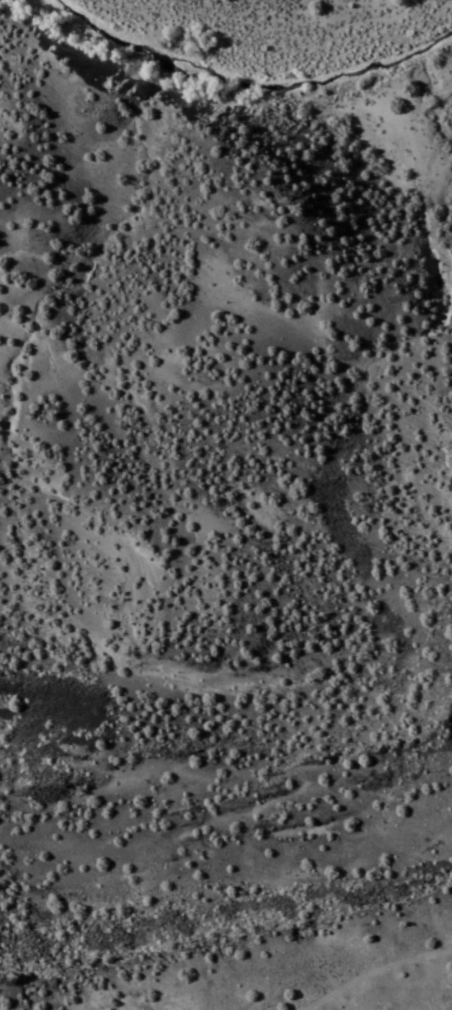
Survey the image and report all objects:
river: (224, 81)

